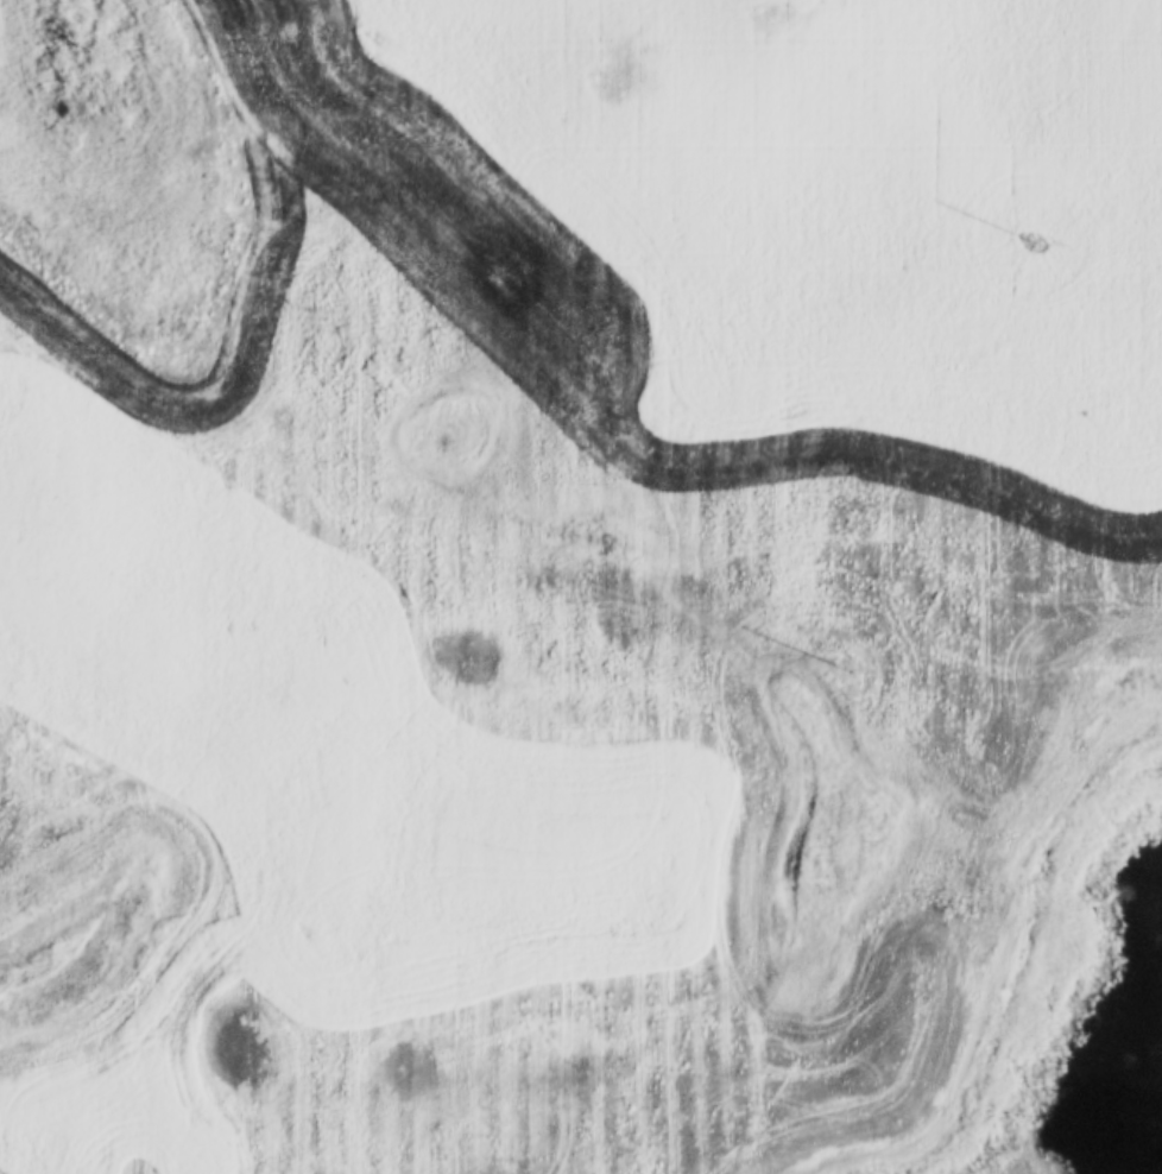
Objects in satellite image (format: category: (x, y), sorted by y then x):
power tower: (1024, 239)
power tower: (840, 656)

